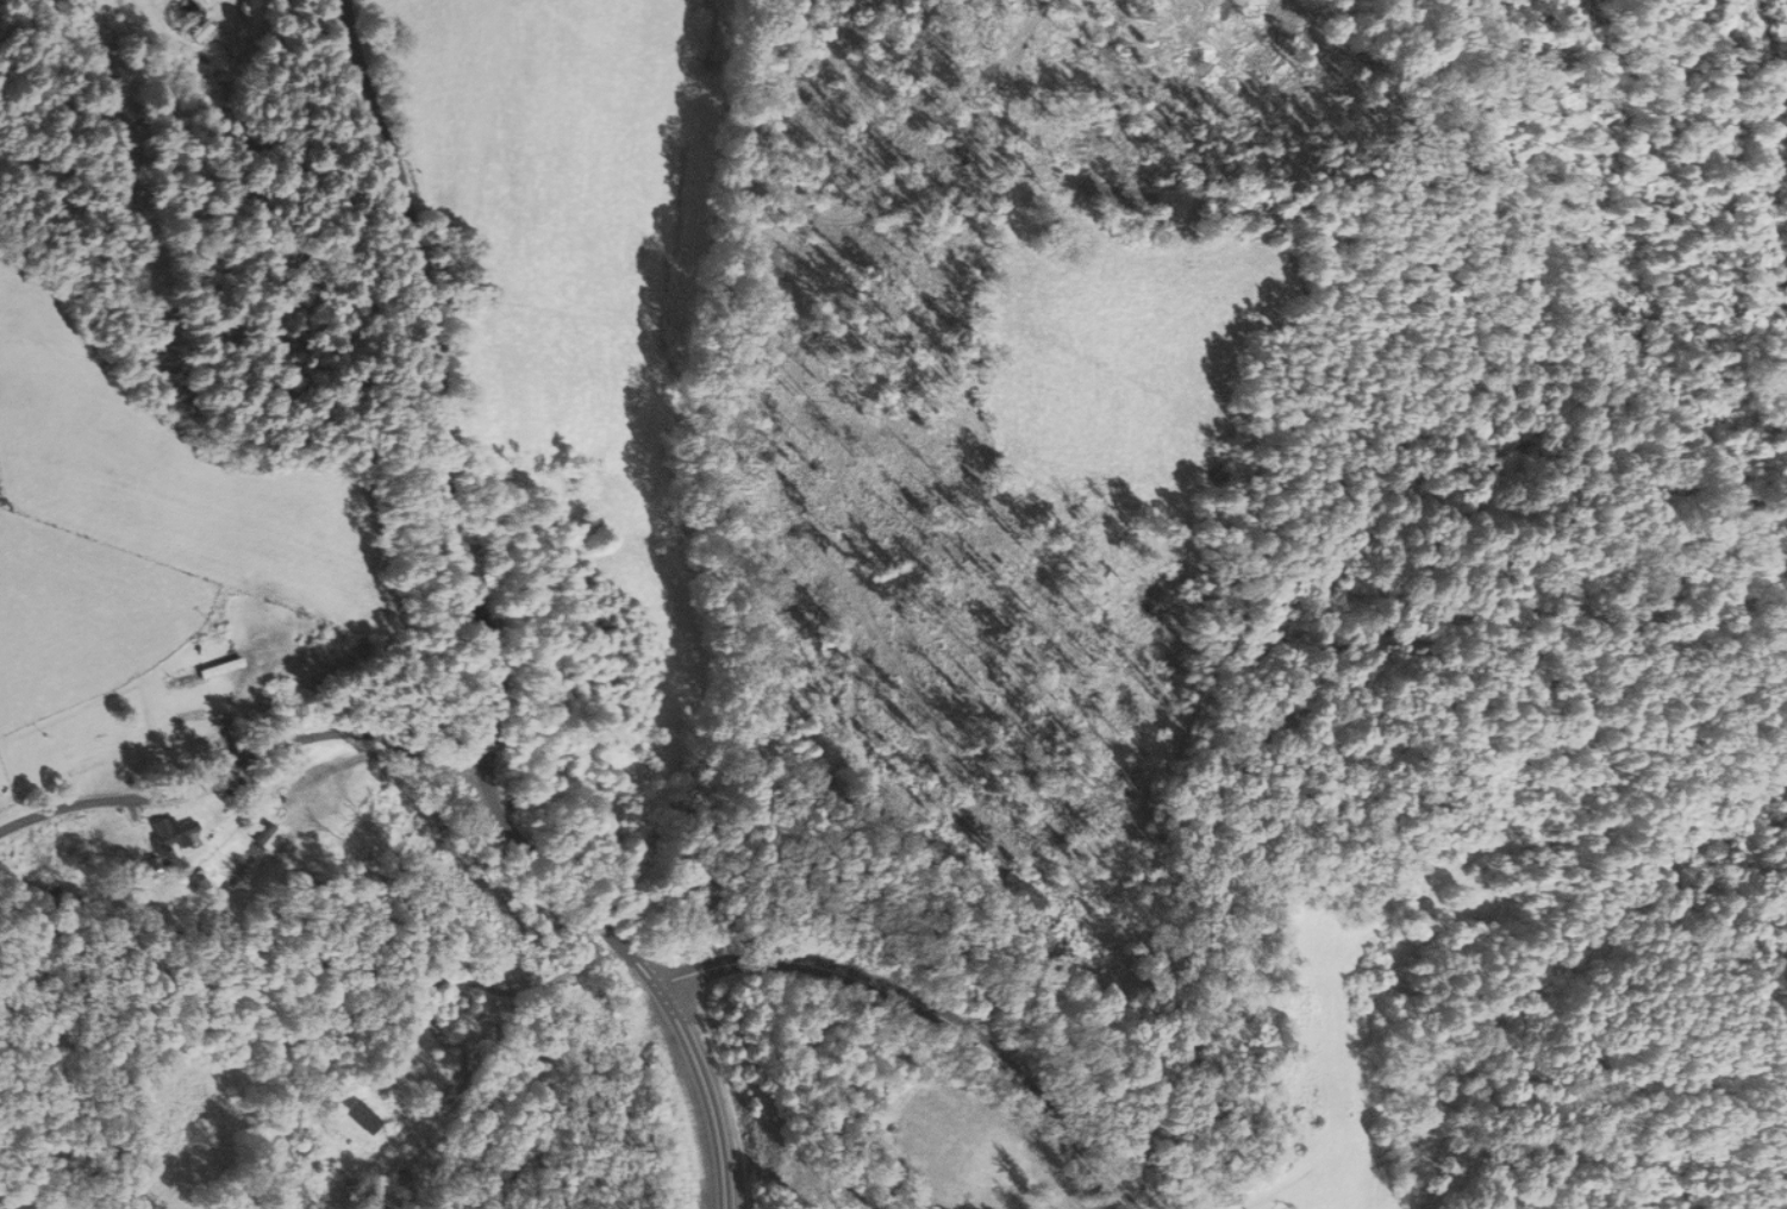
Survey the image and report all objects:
road: (458, 521)
building: (189, 679)
road: (243, 781)
building: (179, 833)
building: (270, 837)
road: (494, 990)
road: (929, 1013)
road: (705, 1091)
building: (362, 1117)

